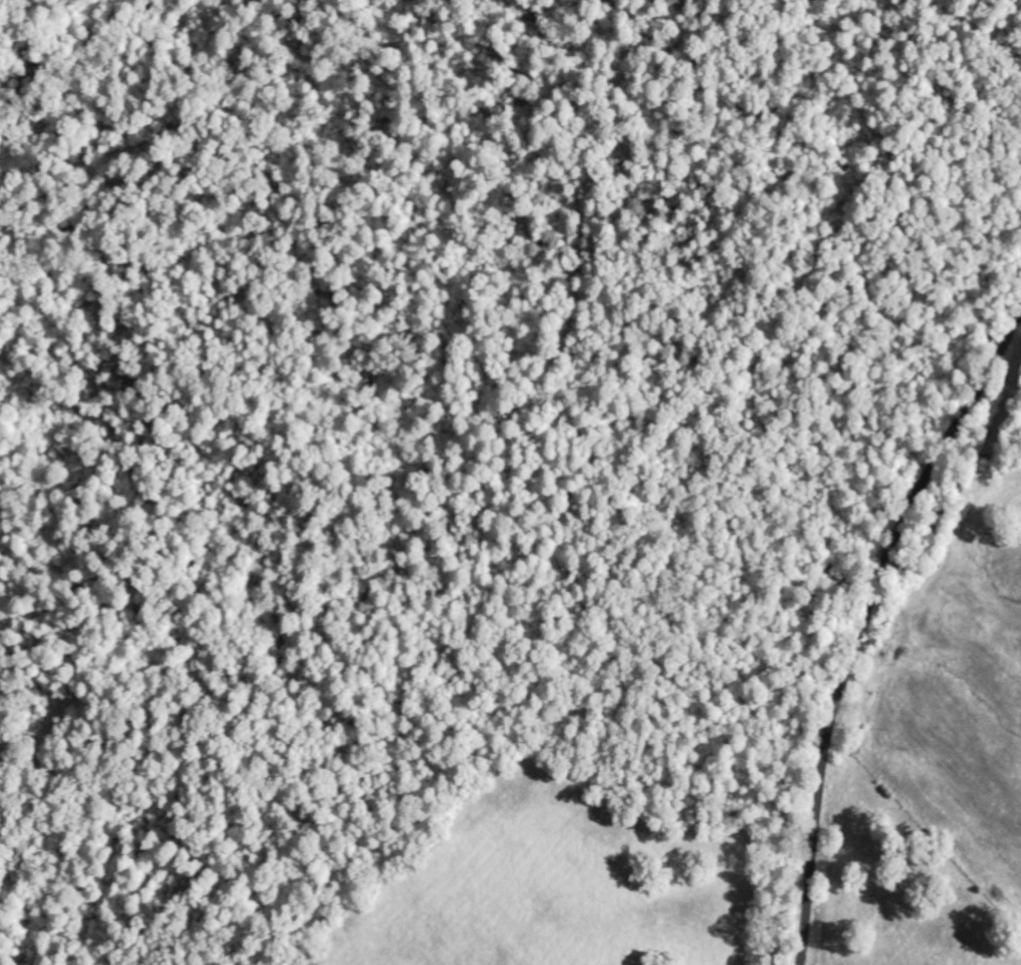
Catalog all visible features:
road: (865, 623)

